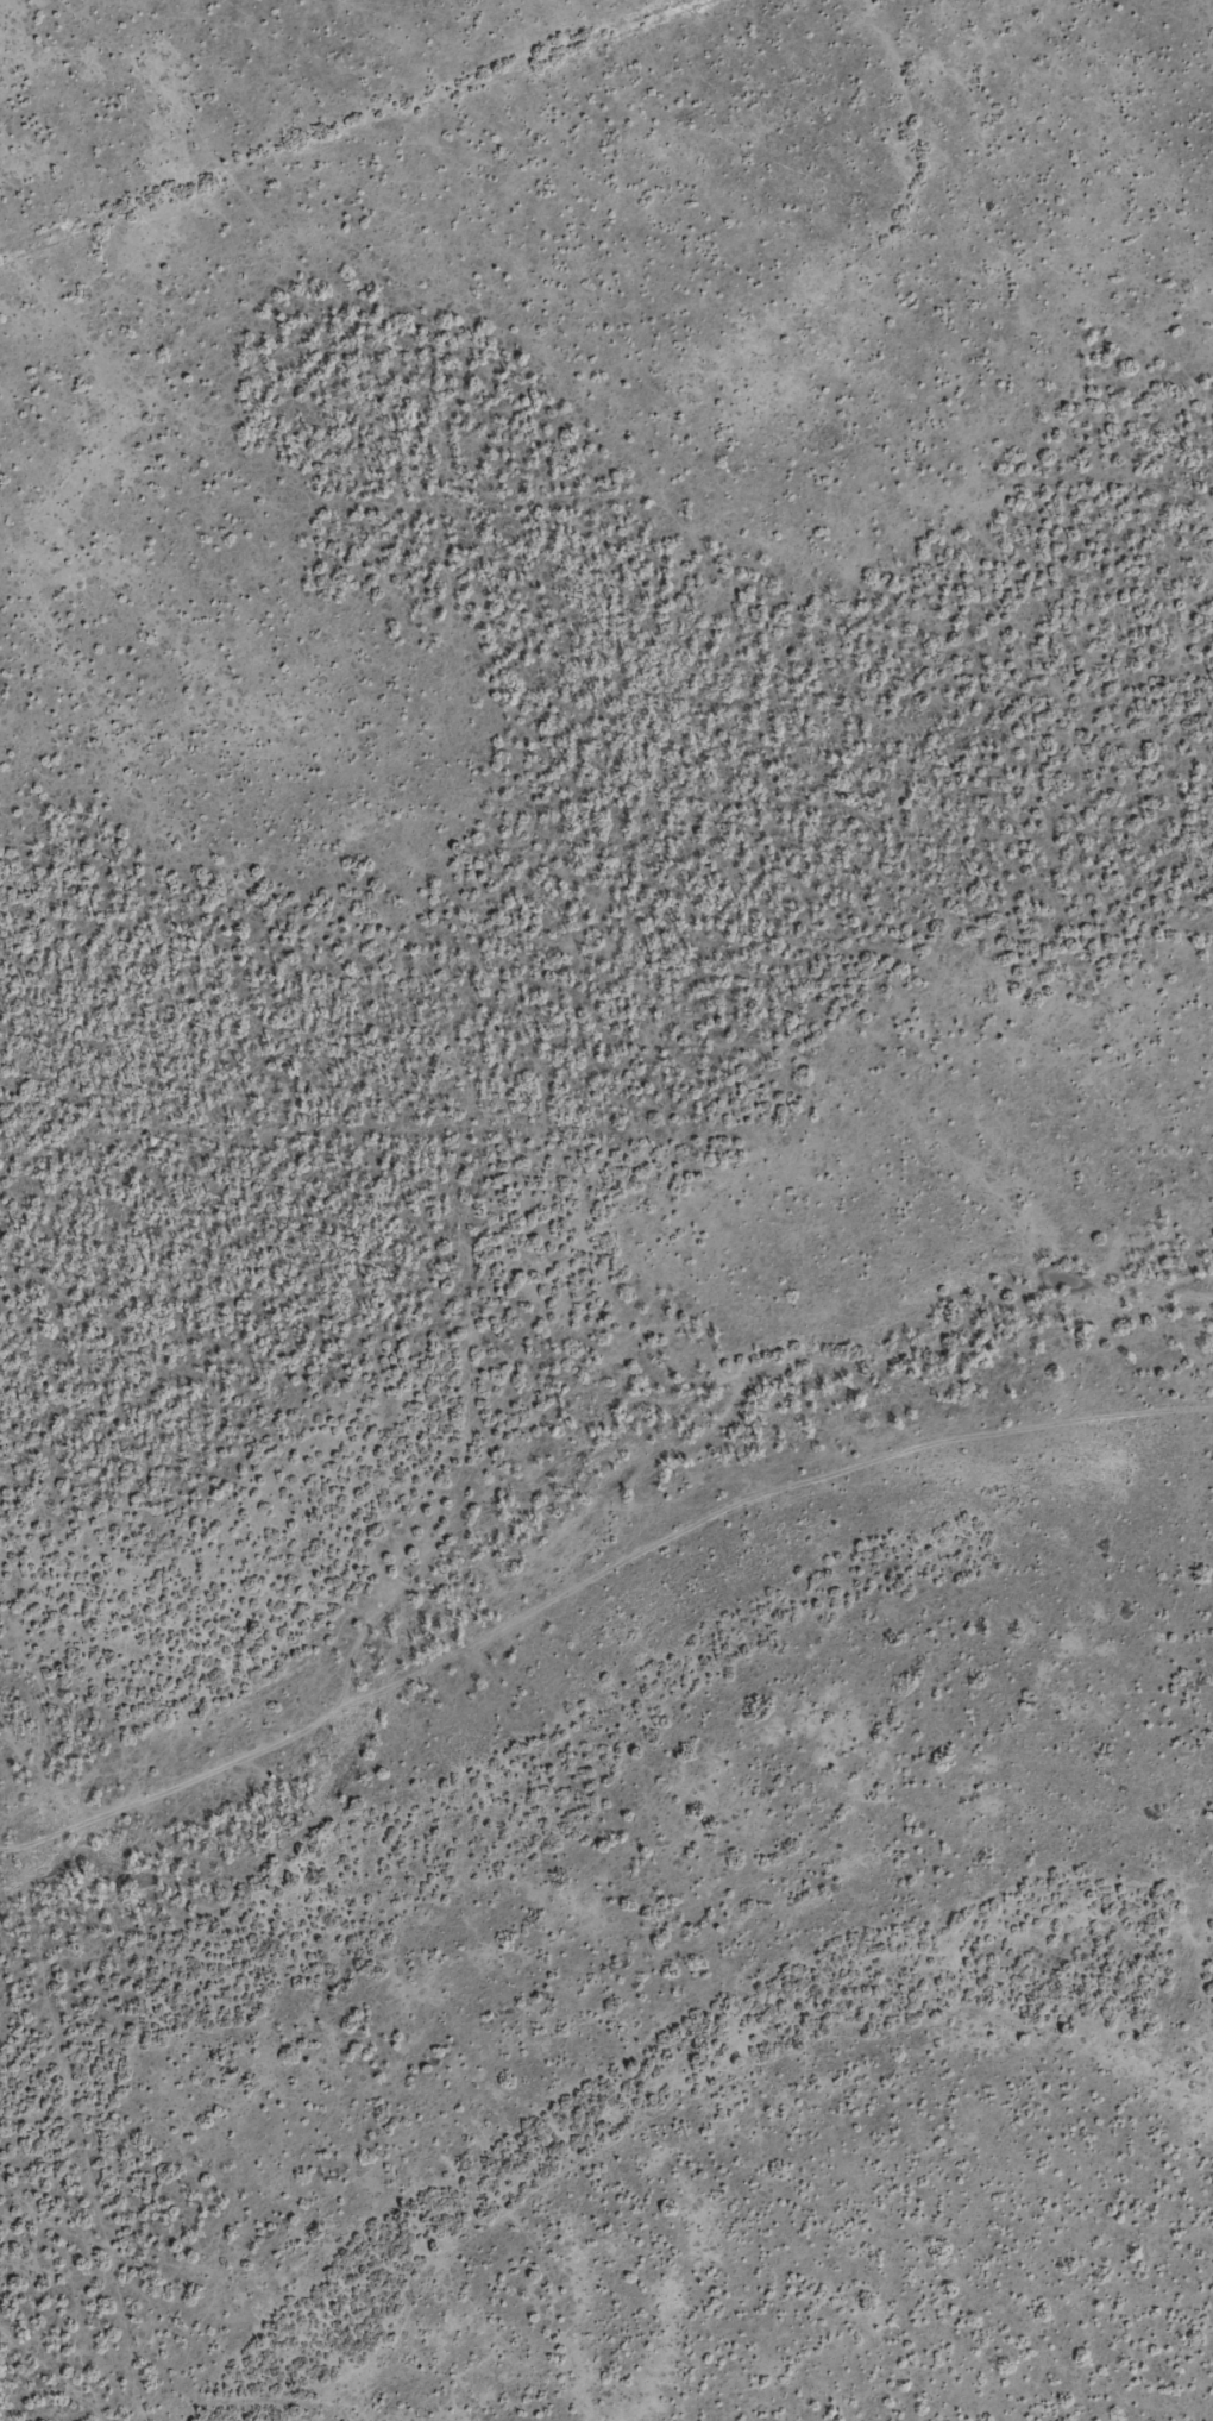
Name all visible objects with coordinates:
road: (582, 1598)

